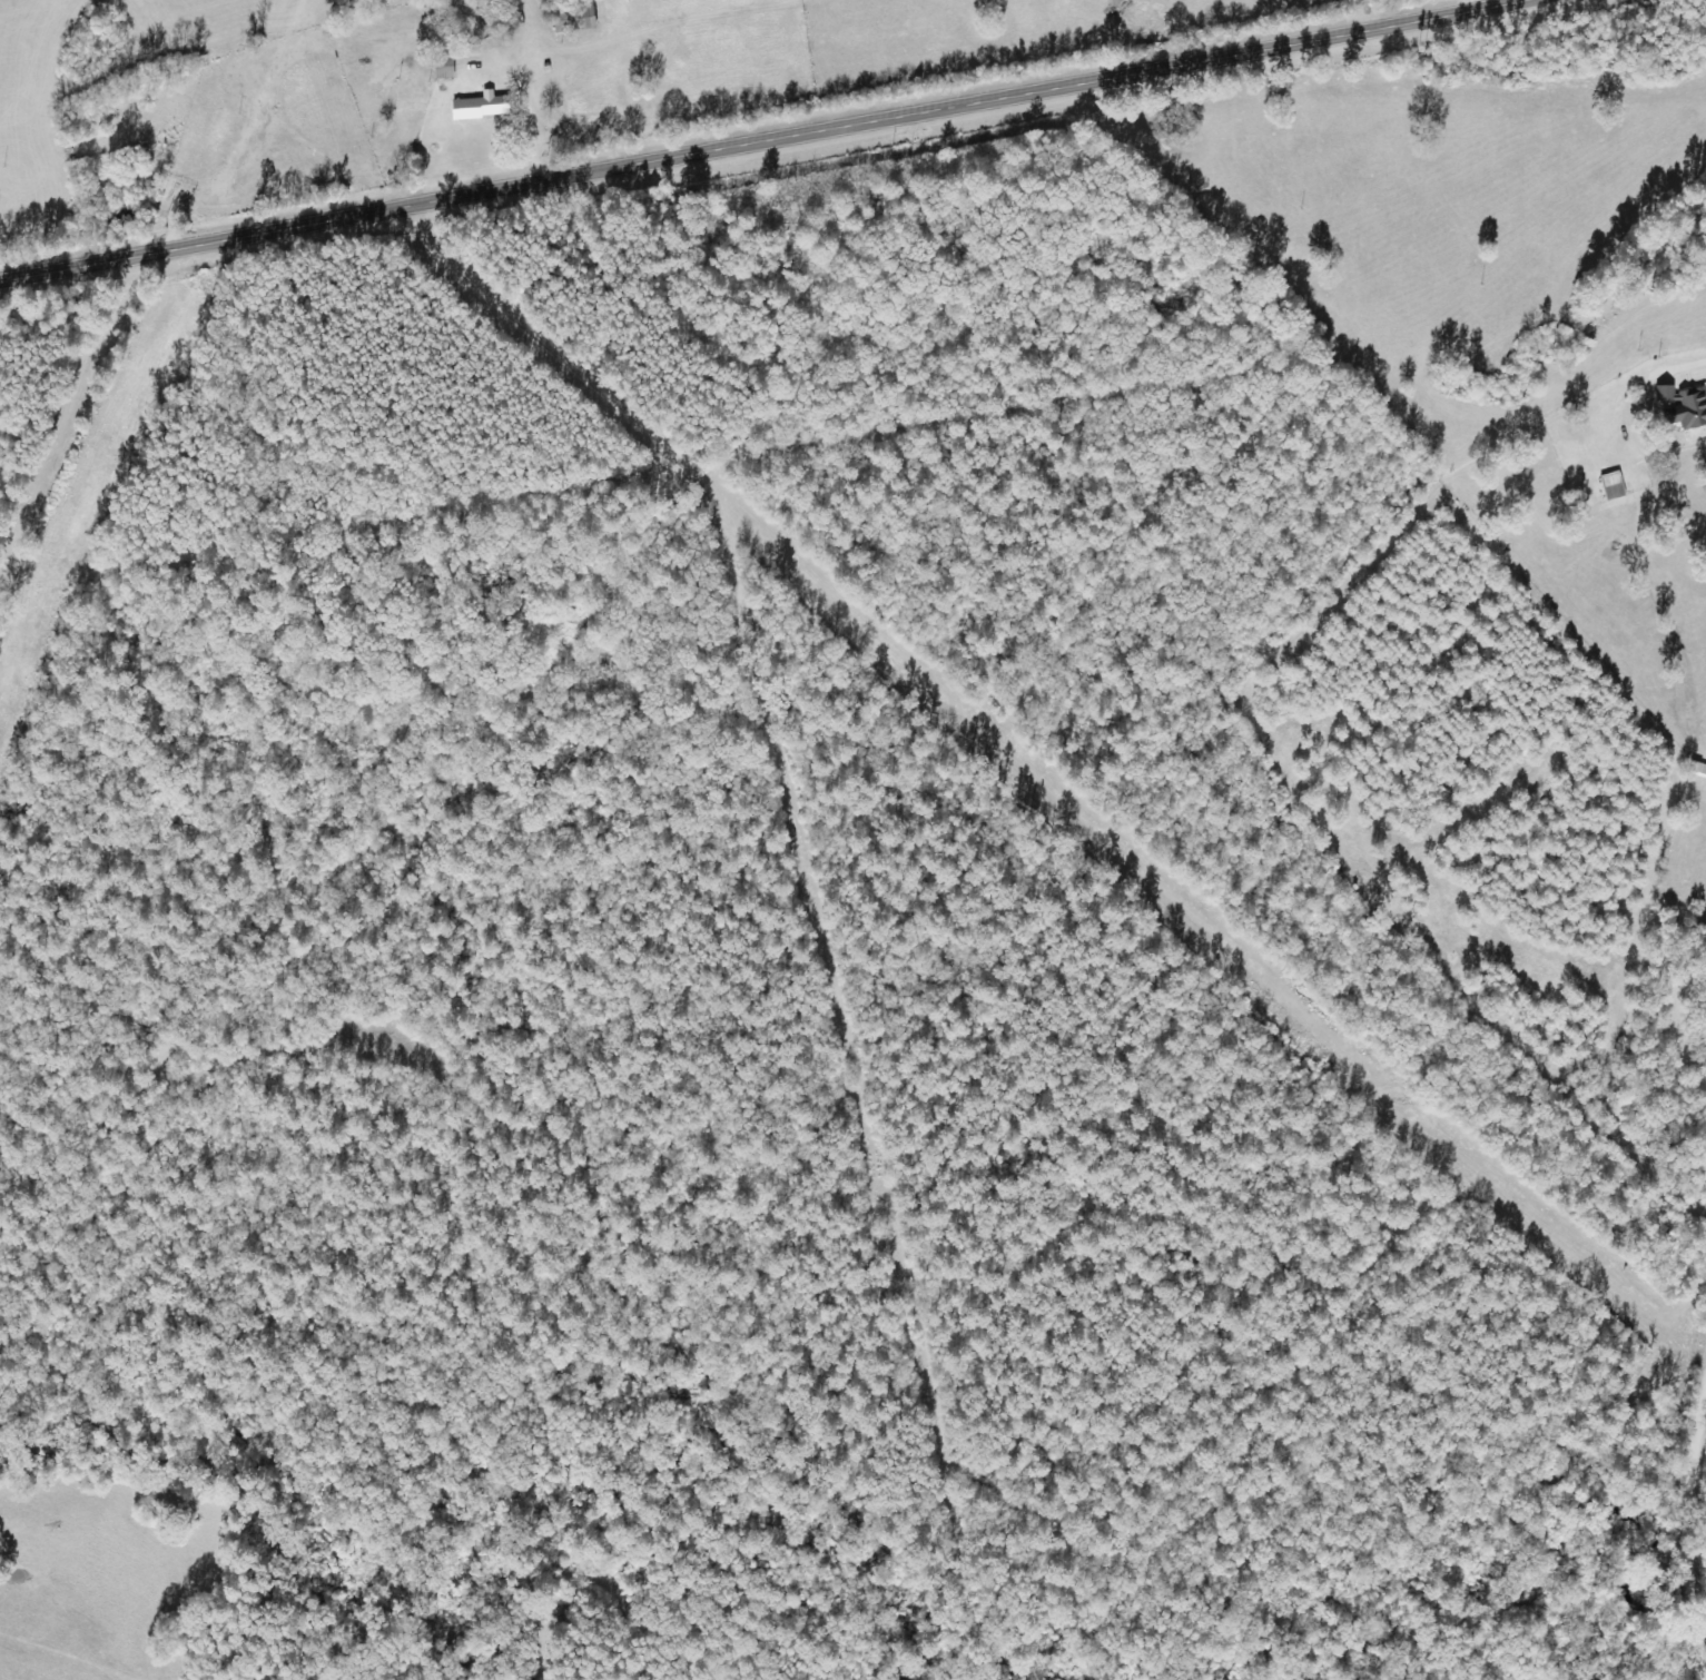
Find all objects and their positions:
building: (485, 107)
road: (768, 140)
building: (1684, 407)
building: (1616, 485)
road: (1672, 1522)

